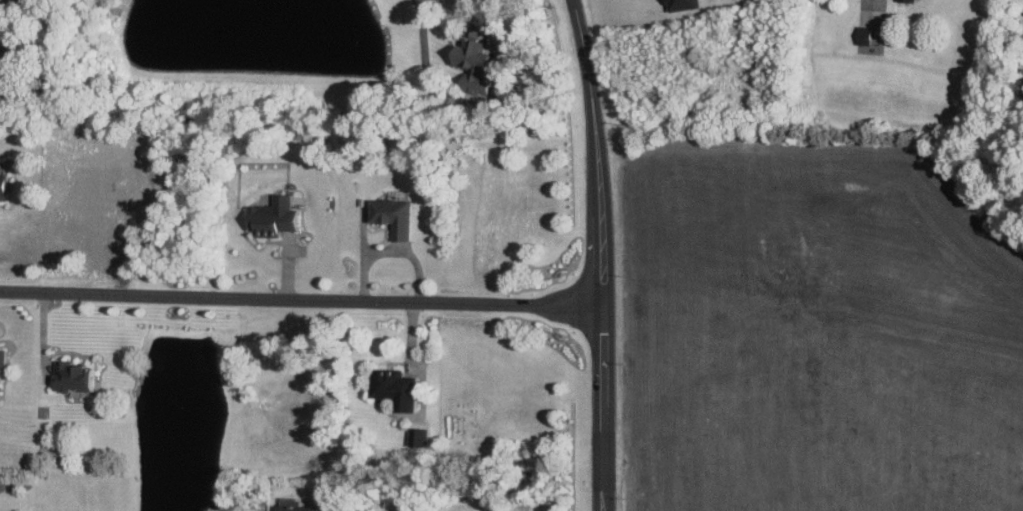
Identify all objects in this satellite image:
building: (909, 0)
building: (687, 4)
road: (419, 32)
building: (867, 34)
building: (1022, 38)
building: (478, 65)
building: (6, 184)
building: (397, 215)
building: (277, 216)
road: (361, 233)
road: (389, 251)
road: (603, 254)
road: (302, 298)
building: (4, 364)
building: (78, 376)
building: (399, 387)
building: (301, 508)

